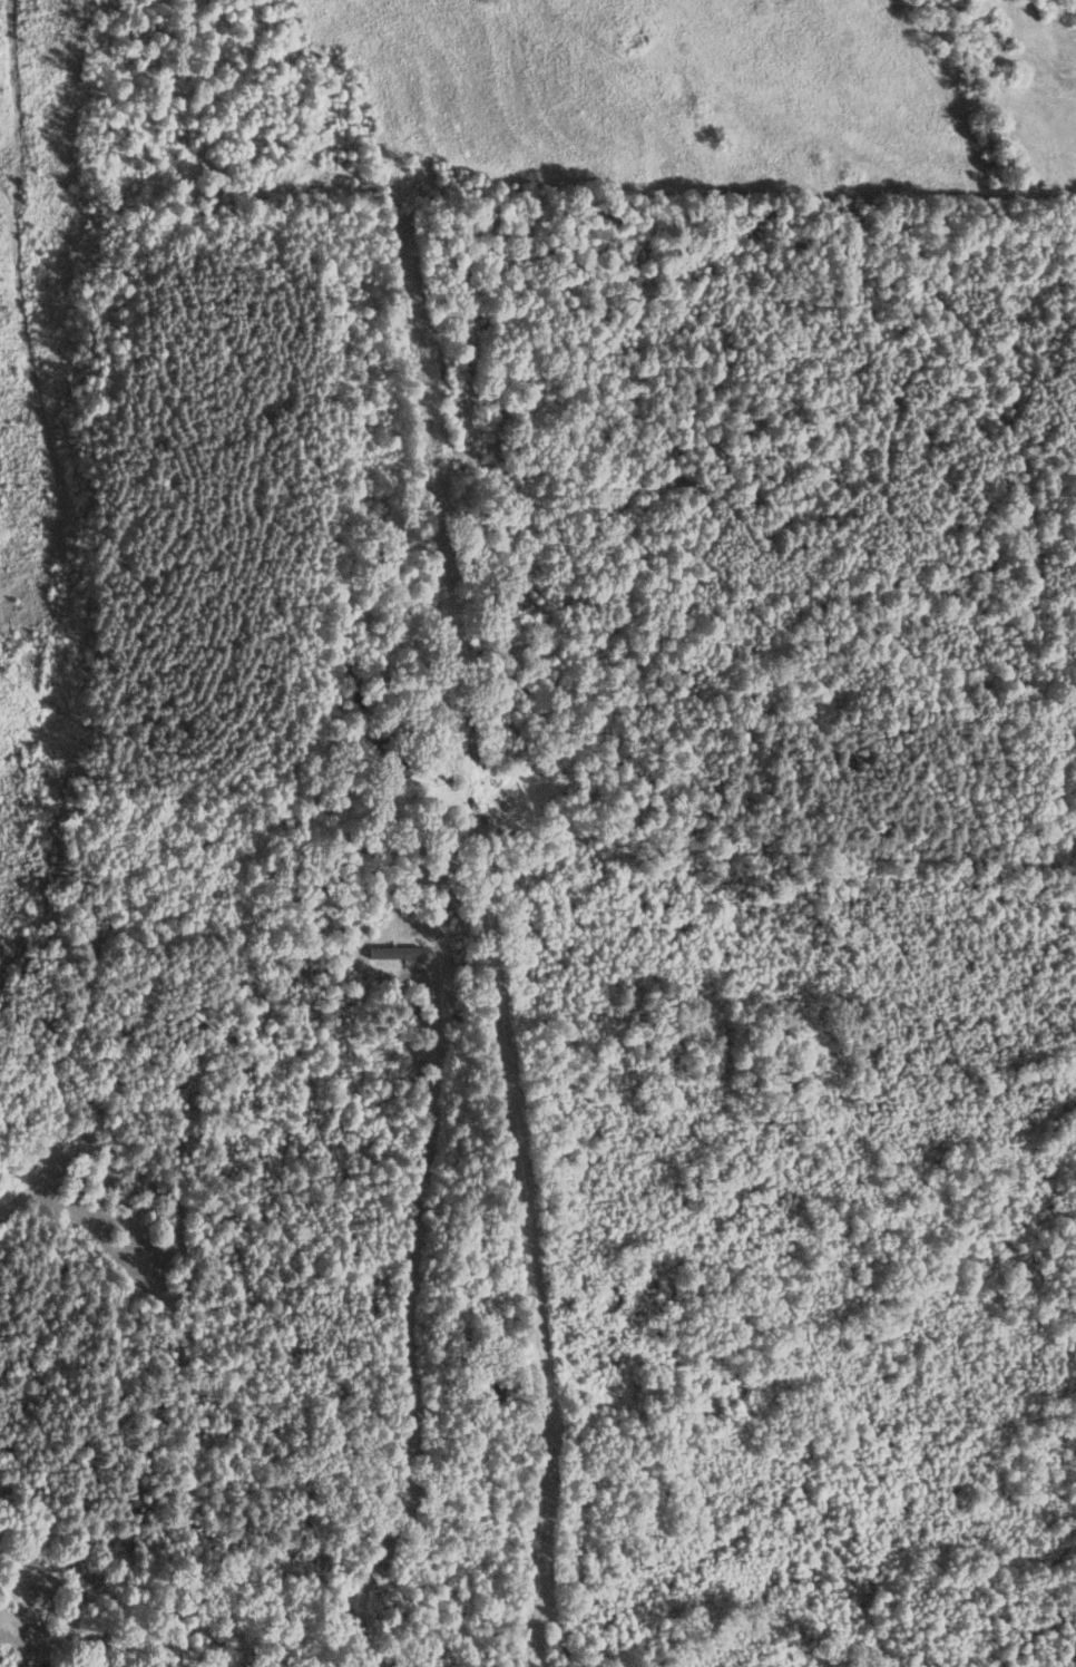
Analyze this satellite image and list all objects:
building: (400, 953)
road: (410, 1323)

